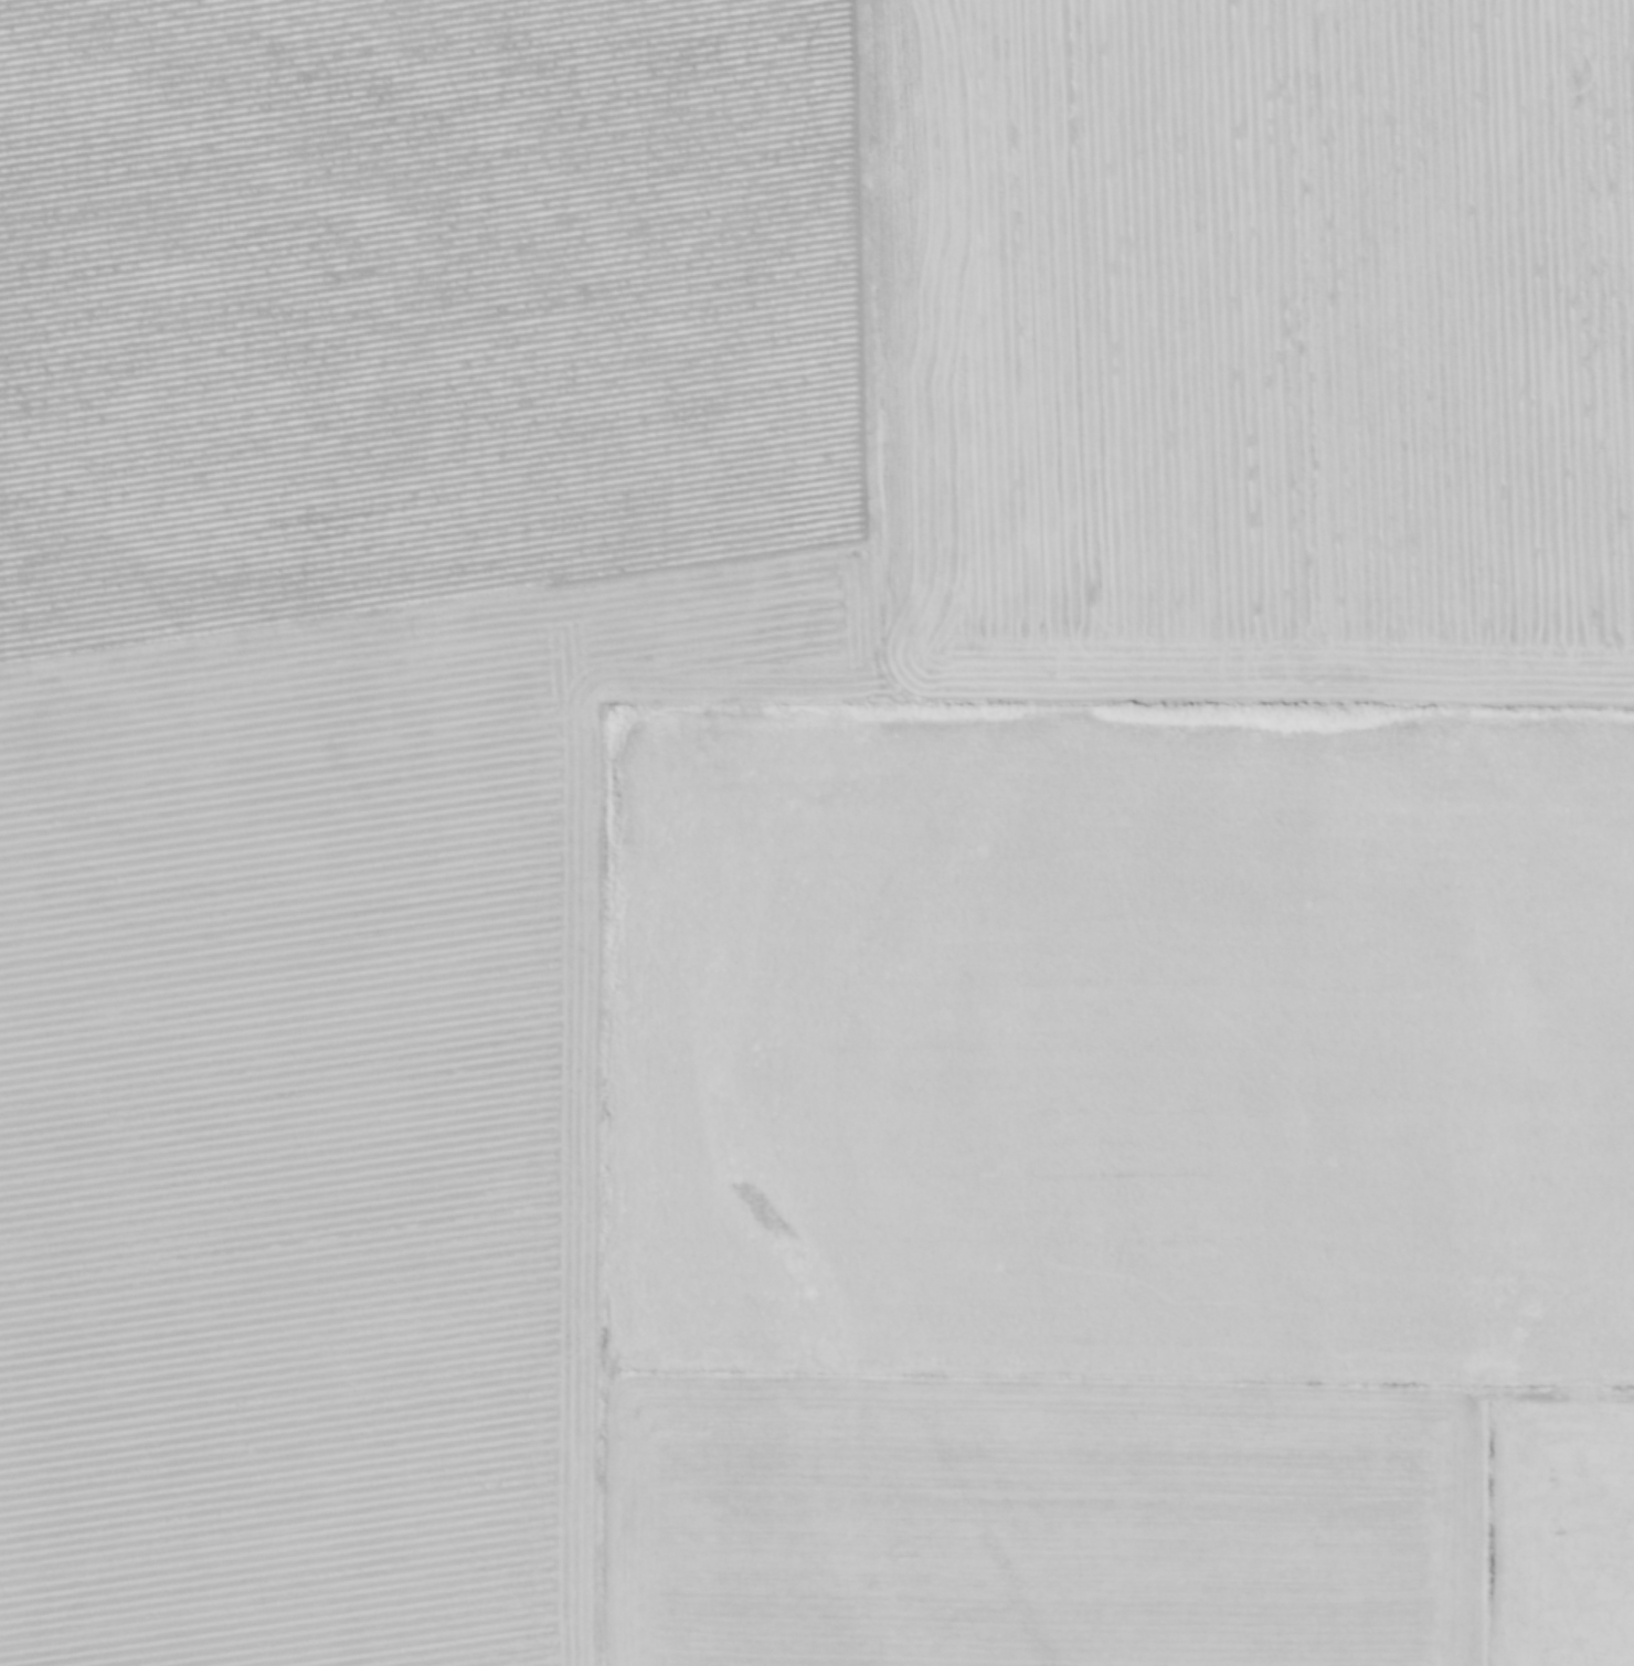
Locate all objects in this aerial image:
crop: (817, 832)

